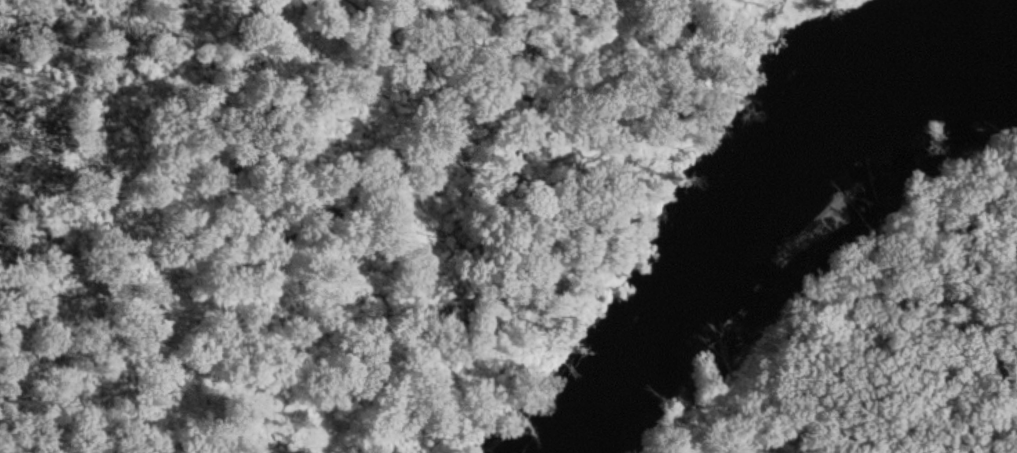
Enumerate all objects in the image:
river: (771, 219)

